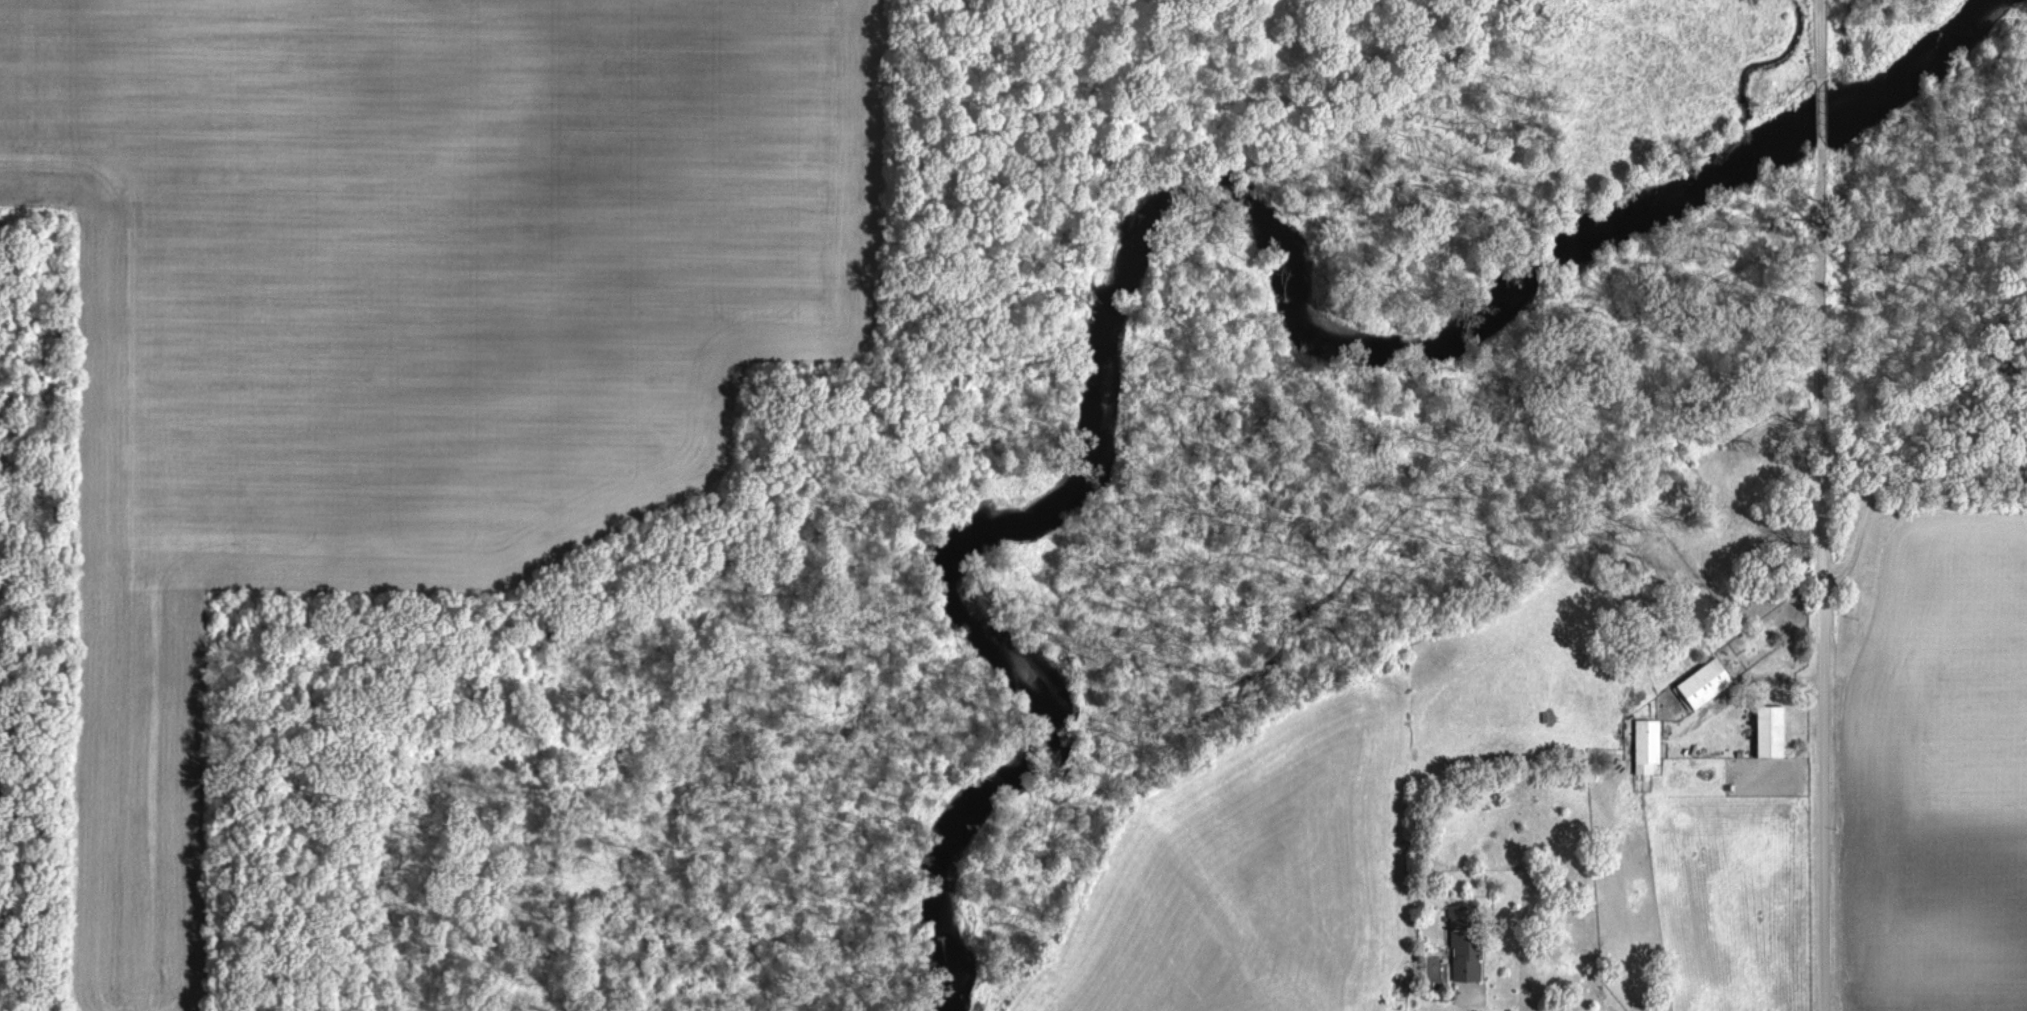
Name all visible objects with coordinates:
road: (1825, 505)
building: (1703, 685)
road: (1916, 720)
building: (1770, 733)
building: (1646, 747)

